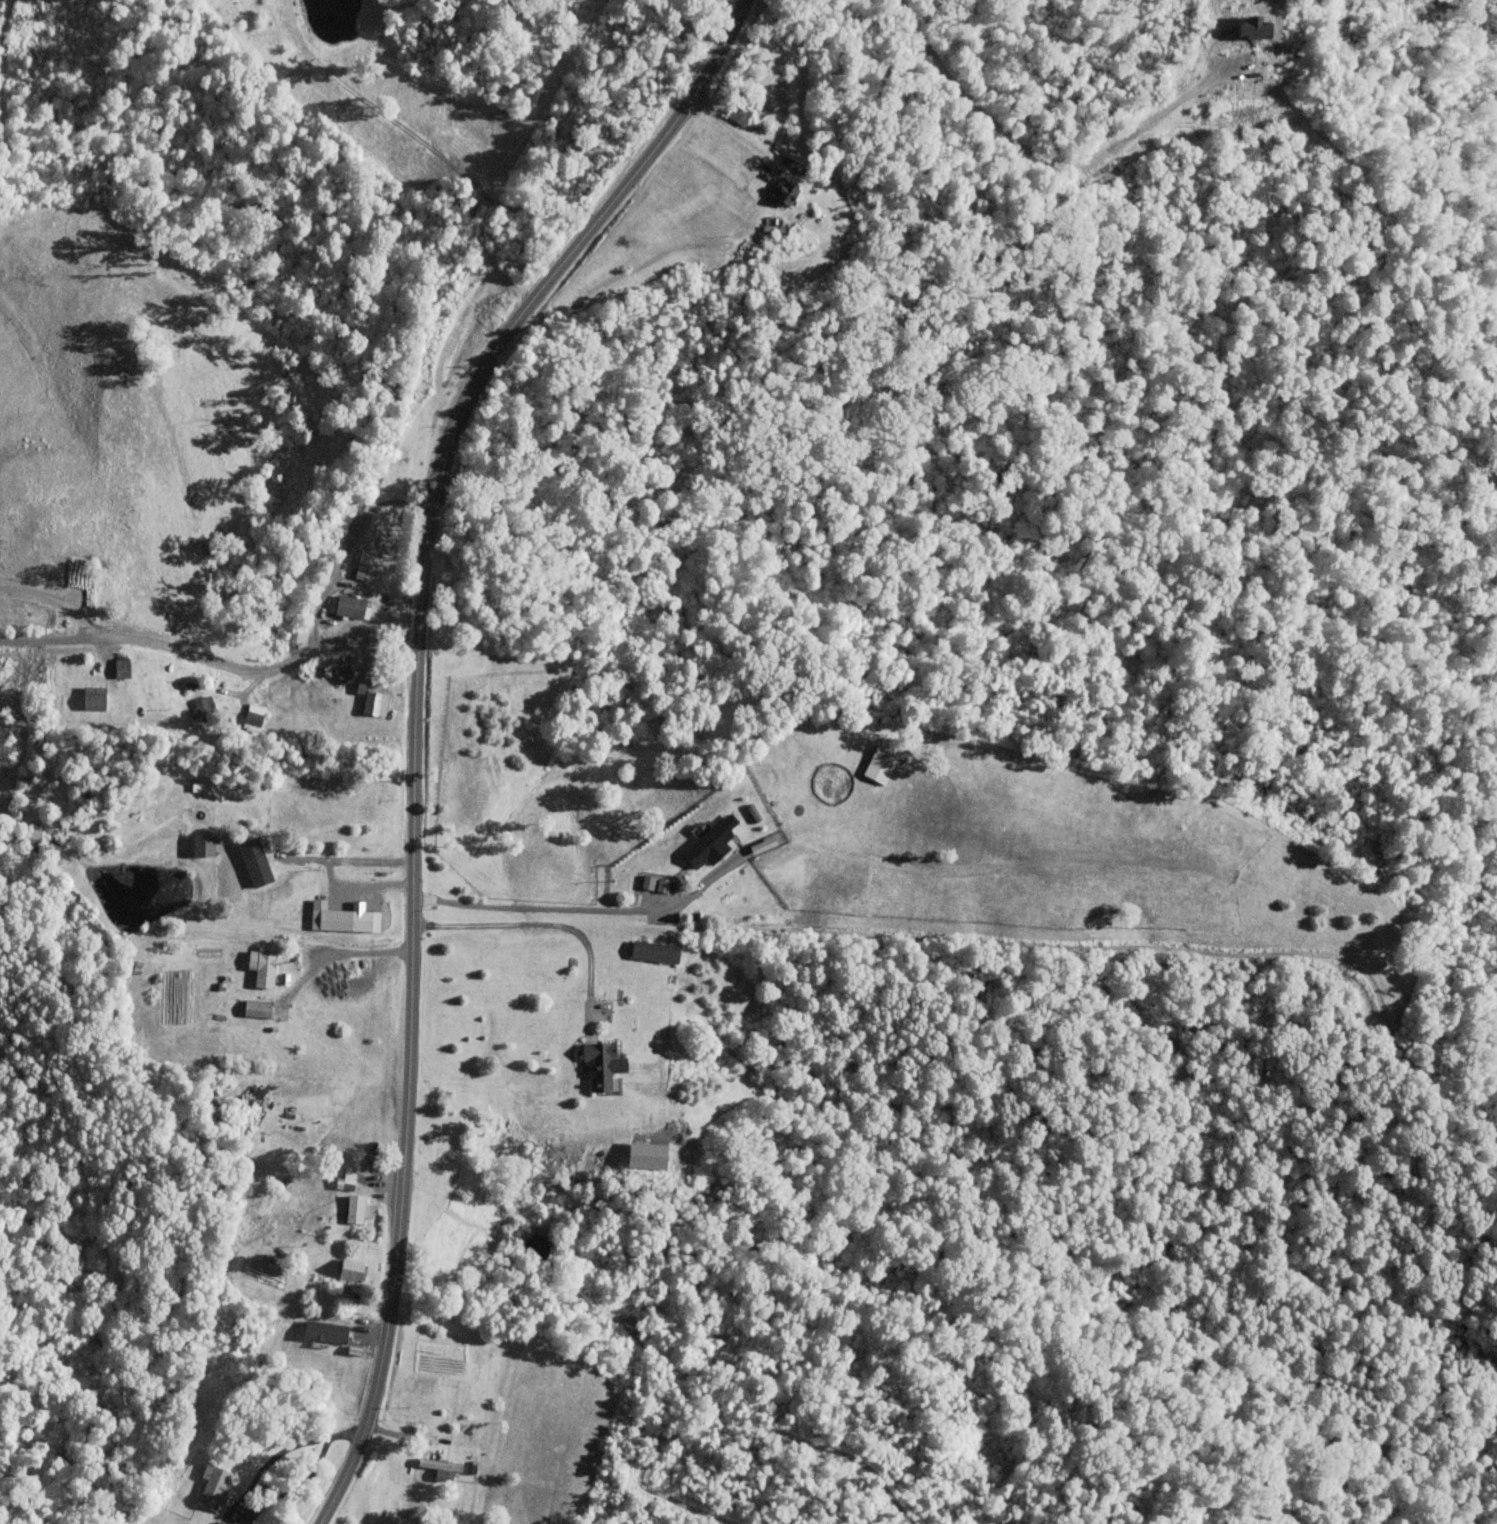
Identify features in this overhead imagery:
building: (739, 130)
road: (1043, 155)
building: (786, 205)
building: (767, 247)
building: (467, 280)
road: (344, 551)
building: (351, 606)
road: (210, 658)
building: (121, 664)
building: (343, 673)
building: (93, 697)
building: (373, 698)
building: (202, 707)
building: (251, 717)
road: (413, 721)
building: (882, 762)
building: (203, 829)
building: (32, 837)
building: (708, 848)
road: (312, 859)
road: (357, 886)
road: (580, 909)
building: (335, 919)
building: (654, 951)
road: (333, 952)
building: (262, 966)
building: (256, 1009)
building: (598, 1066)
building: (348, 1173)
building: (357, 1208)
building: (351, 1272)
building: (328, 1324)
building: (440, 1466)
building: (213, 1486)
building: (218, 1523)

